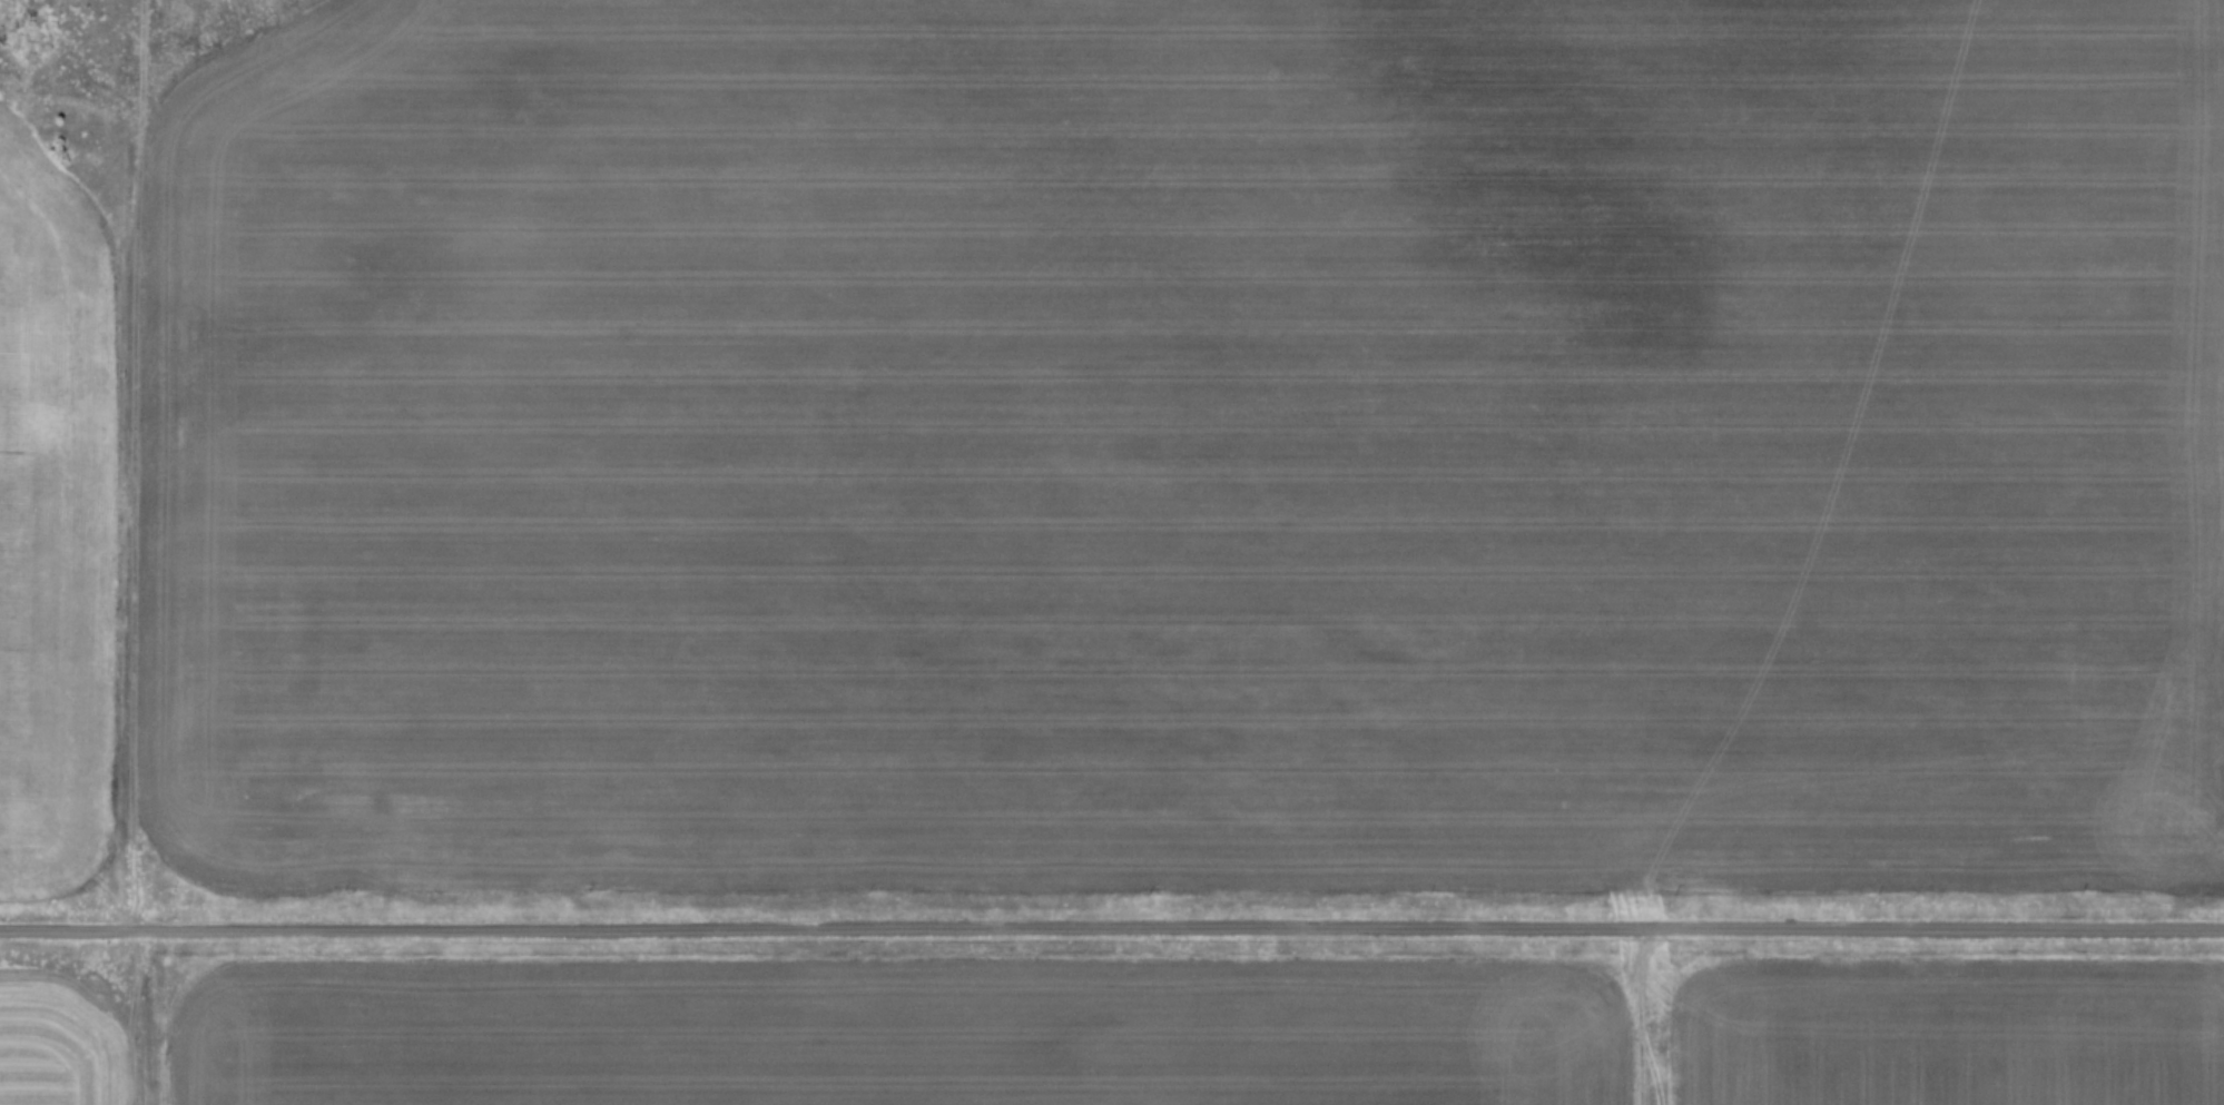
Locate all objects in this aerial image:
road: (134, 466)
road: (1112, 934)
road: (1643, 1019)

